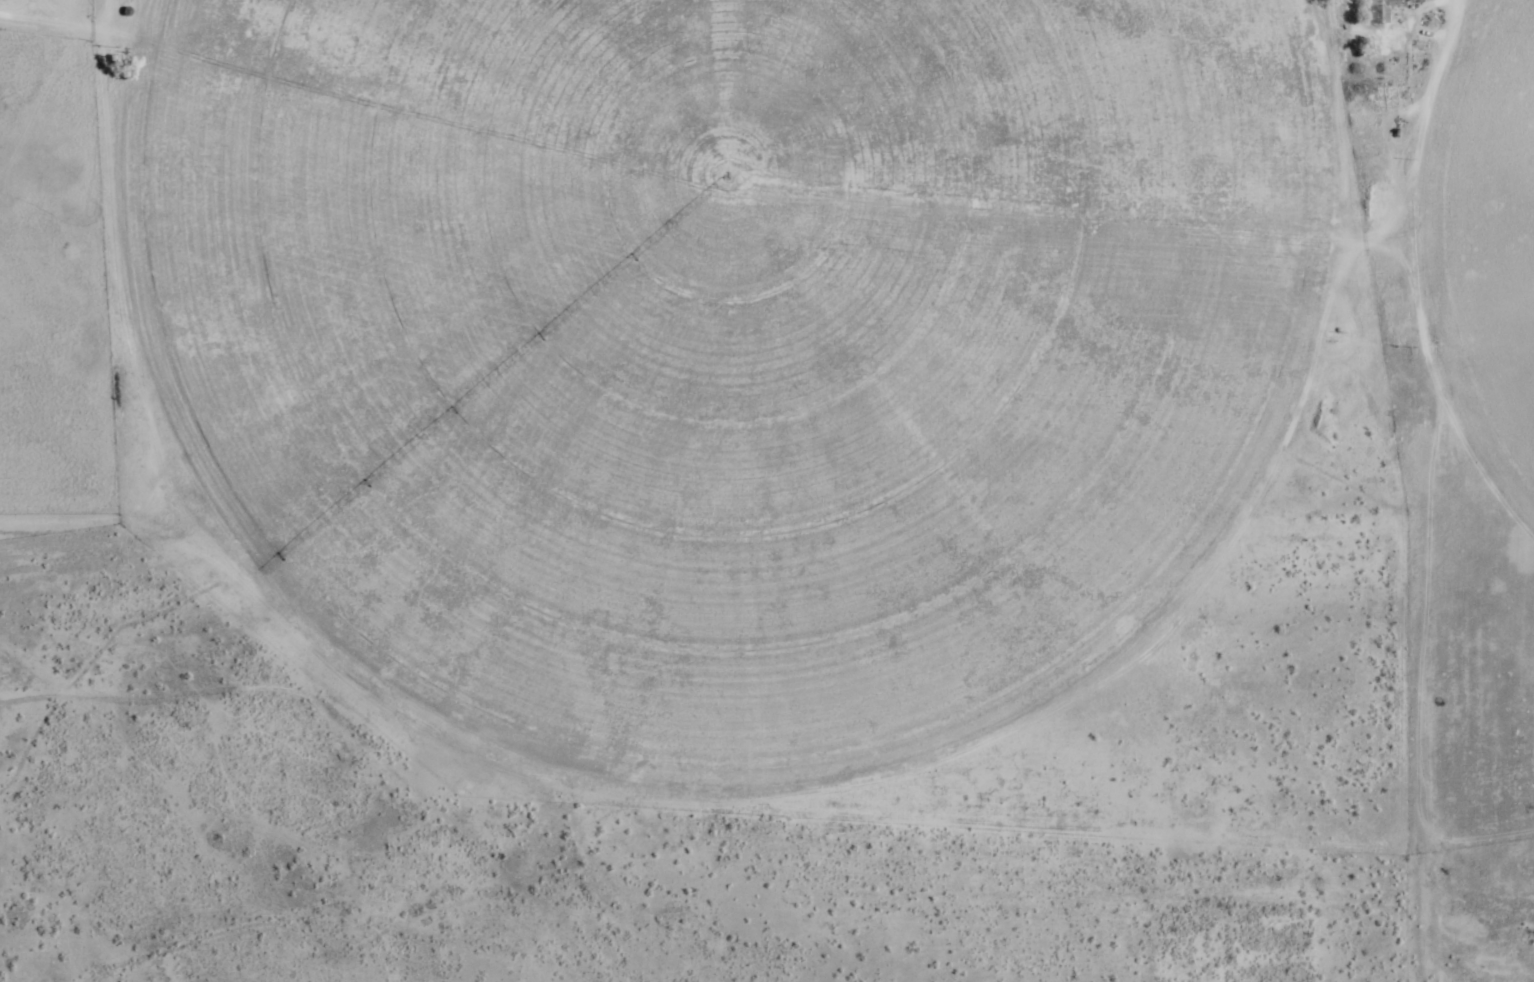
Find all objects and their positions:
road: (1475, 75)

